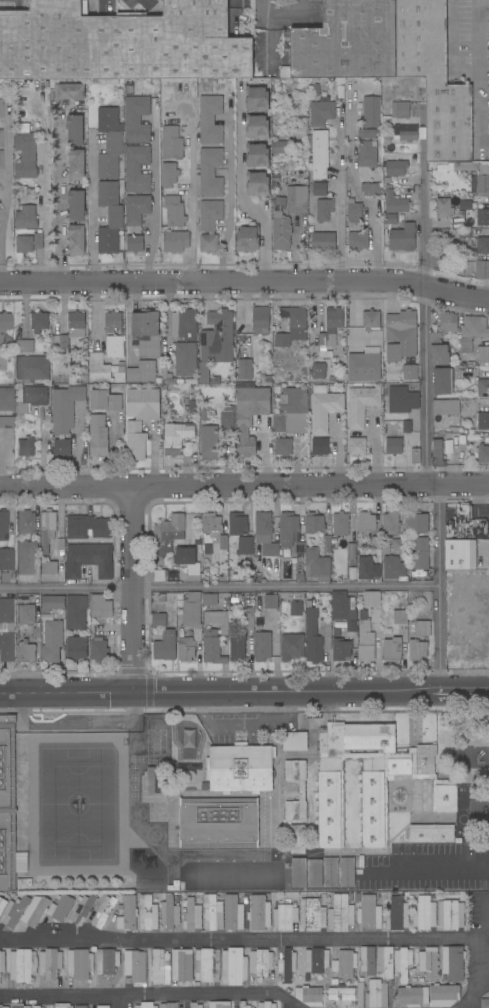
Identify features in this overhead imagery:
road: (233, 12)
road: (280, 12)
building: (345, 42)
building: (121, 43)
road: (481, 72)
building: (434, 78)
building: (69, 92)
building: (256, 98)
building: (1, 109)
building: (400, 110)
building: (321, 112)
building: (371, 112)
building: (136, 119)
building: (210, 120)
building: (256, 127)
building: (75, 130)
building: (405, 132)
building: (366, 134)
building: (1, 138)
building: (109, 143)
building: (172, 143)
building: (278, 147)
building: (25, 151)
building: (319, 153)
building: (256, 155)
building: (366, 155)
building: (1, 160)
building: (76, 165)
building: (465, 166)
building: (395, 168)
building: (136, 169)
building: (484, 169)
building: (282, 170)
building: (210, 172)
building: (169, 175)
building: (275, 179)
building: (257, 184)
building: (480, 184)
road: (240, 187)
road: (353, 188)
building: (318, 189)
building: (371, 189)
road: (7, 193)
road: (230, 194)
road: (340, 196)
road: (60, 197)
road: (155, 198)
building: (297, 199)
road: (192, 201)
building: (395, 202)
building: (465, 205)
building: (76, 206)
building: (443, 208)
road: (92, 209)
building: (136, 209)
building: (323, 210)
building: (174, 211)
building: (353, 211)
road: (44, 215)
building: (109, 217)
building: (483, 217)
building: (26, 218)
building: (390, 219)
building: (209, 224)
building: (281, 226)
building: (402, 238)
building: (248, 239)
building: (76, 240)
building: (357, 240)
building: (134, 241)
building: (175, 241)
building: (29, 242)
building: (323, 242)
building: (483, 246)
building: (482, 270)
road: (245, 283)
building: (371, 319)
building: (260, 320)
building: (39, 321)
building: (113, 321)
building: (5, 322)
building: (447, 322)
building: (76, 324)
building: (184, 324)
building: (145, 325)
building: (292, 326)
road: (425, 326)
building: (474, 328)
building: (330, 331)
building: (401, 335)
building: (215, 342)
building: (465, 345)
building: (24, 346)
building: (115, 346)
building: (149, 348)
building: (438, 350)
building: (483, 354)
building: (185, 360)
building: (2, 364)
building: (469, 364)
building: (364, 366)
building: (102, 368)
building: (31, 369)
building: (244, 370)
building: (317, 371)
building: (143, 372)
building: (409, 372)
building: (166, 375)
building: (331, 379)
building: (191, 381)
building: (215, 381)
building: (442, 381)
building: (483, 388)
building: (192, 389)
building: (30, 398)
building: (6, 399)
building: (193, 399)
building: (402, 400)
building: (113, 402)
building: (142, 404)
building: (361, 405)
building: (65, 408)
building: (323, 408)
building: (292, 411)
building: (250, 416)
building: (446, 416)
building: (208, 417)
building: (227, 421)
building: (481, 421)
building: (6, 423)
building: (407, 426)
building: (104, 438)
building: (171, 440)
building: (135, 441)
building: (209, 444)
building: (394, 444)
building: (320, 446)
building: (356, 446)
building: (25, 447)
building: (283, 447)
building: (61, 448)
building: (437, 454)
building: (482, 454)
building: (415, 456)
road: (244, 487)
building: (24, 522)
building: (366, 523)
building: (390, 523)
building: (417, 523)
building: (211, 524)
building: (237, 524)
building: (263, 524)
building: (340, 524)
building: (465, 525)
building: (5, 526)
building: (87, 527)
building: (287, 528)
building: (319, 528)
building: (47, 529)
building: (168, 534)
building: (375, 542)
building: (60, 544)
building: (223, 545)
building: (339, 545)
building: (245, 546)
building: (400, 546)
building: (300, 547)
building: (385, 548)
building: (207, 549)
building: (270, 550)
building: (351, 551)
building: (61, 552)
building: (284, 552)
building: (421, 554)
building: (460, 555)
building: (24, 557)
building: (6, 560)
building: (88, 560)
building: (187, 560)
building: (317, 566)
building: (49, 568)
building: (367, 568)
building: (394, 568)
building: (205, 571)
building: (158, 576)
building: (299, 576)
building: (4, 577)
building: (257, 577)
road: (219, 587)
road: (440, 588)
road: (135, 589)
building: (371, 598)
building: (210, 600)
building: (52, 602)
building: (270, 602)
building: (100, 607)
building: (296, 609)
building: (343, 609)
building: (75, 612)
building: (25, 614)
building: (400, 617)
building: (249, 619)
building: (158, 620)
building: (190, 625)
building: (422, 628)
building: (6, 630)
building: (338, 631)
building: (36, 632)
building: (316, 636)
building: (214, 637)
building: (365, 640)
building: (53, 642)
building: (237, 644)
building: (165, 646)
building: (262, 647)
building: (292, 647)
building: (75, 648)
building: (98, 649)
building: (341, 650)
building: (392, 650)
building: (417, 650)
building: (25, 652)
road: (244, 691)
building: (188, 738)
building: (294, 741)
building: (240, 768)
building: (370, 780)
building: (150, 781)
building: (301, 791)
building: (7, 804)
building: (218, 822)
building: (431, 833)
building: (297, 839)
building: (206, 867)
road: (424, 869)
building: (330, 872)
building: (346, 872)
building: (302, 876)
building: (205, 880)
building: (357, 897)
building: (4, 903)
building: (60, 908)
building: (83, 910)
building: (14, 911)
building: (35, 911)
building: (104, 912)
building: (147, 913)
building: (169, 913)
building: (212, 913)
building: (232, 913)
building: (258, 913)
building: (341, 913)
building: (369, 913)
building: (424, 913)
building: (127, 914)
building: (312, 914)
building: (396, 914)
building: (450, 914)
building: (191, 915)
building: (284, 917)
road: (243, 940)
road: (487, 944)
building: (367, 960)
building: (384, 961)
building: (2, 962)
building: (315, 962)
building: (402, 962)
building: (50, 963)
building: (106, 963)
building: (260, 963)
building: (453, 963)
road: (488, 963)
building: (79, 964)
building: (344, 964)
building: (428, 964)
building: (182, 965)
building: (206, 965)
building: (286, 965)
building: (22, 966)
building: (135, 966)
building: (160, 967)
building: (234, 967)
building: (279, 978)
building: (360, 979)
building: (334, 981)
road: (150, 992)
building: (360, 994)
building: (376, 994)
building: (443, 995)
building: (308, 996)
building: (341, 996)
building: (412, 996)
road: (125, 1000)
road: (469, 1001)
building: (485, 1003)
building: (243, 1004)
road: (287, 1004)
building: (146, 1005)
building: (168, 1005)
building: (195, 1005)
building: (219, 1005)
building: (266, 1005)
building: (19, 1006)
building: (62, 1006)
building: (100, 1006)
building: (3, 1007)
building: (36, 1007)
building: (80, 1007)

